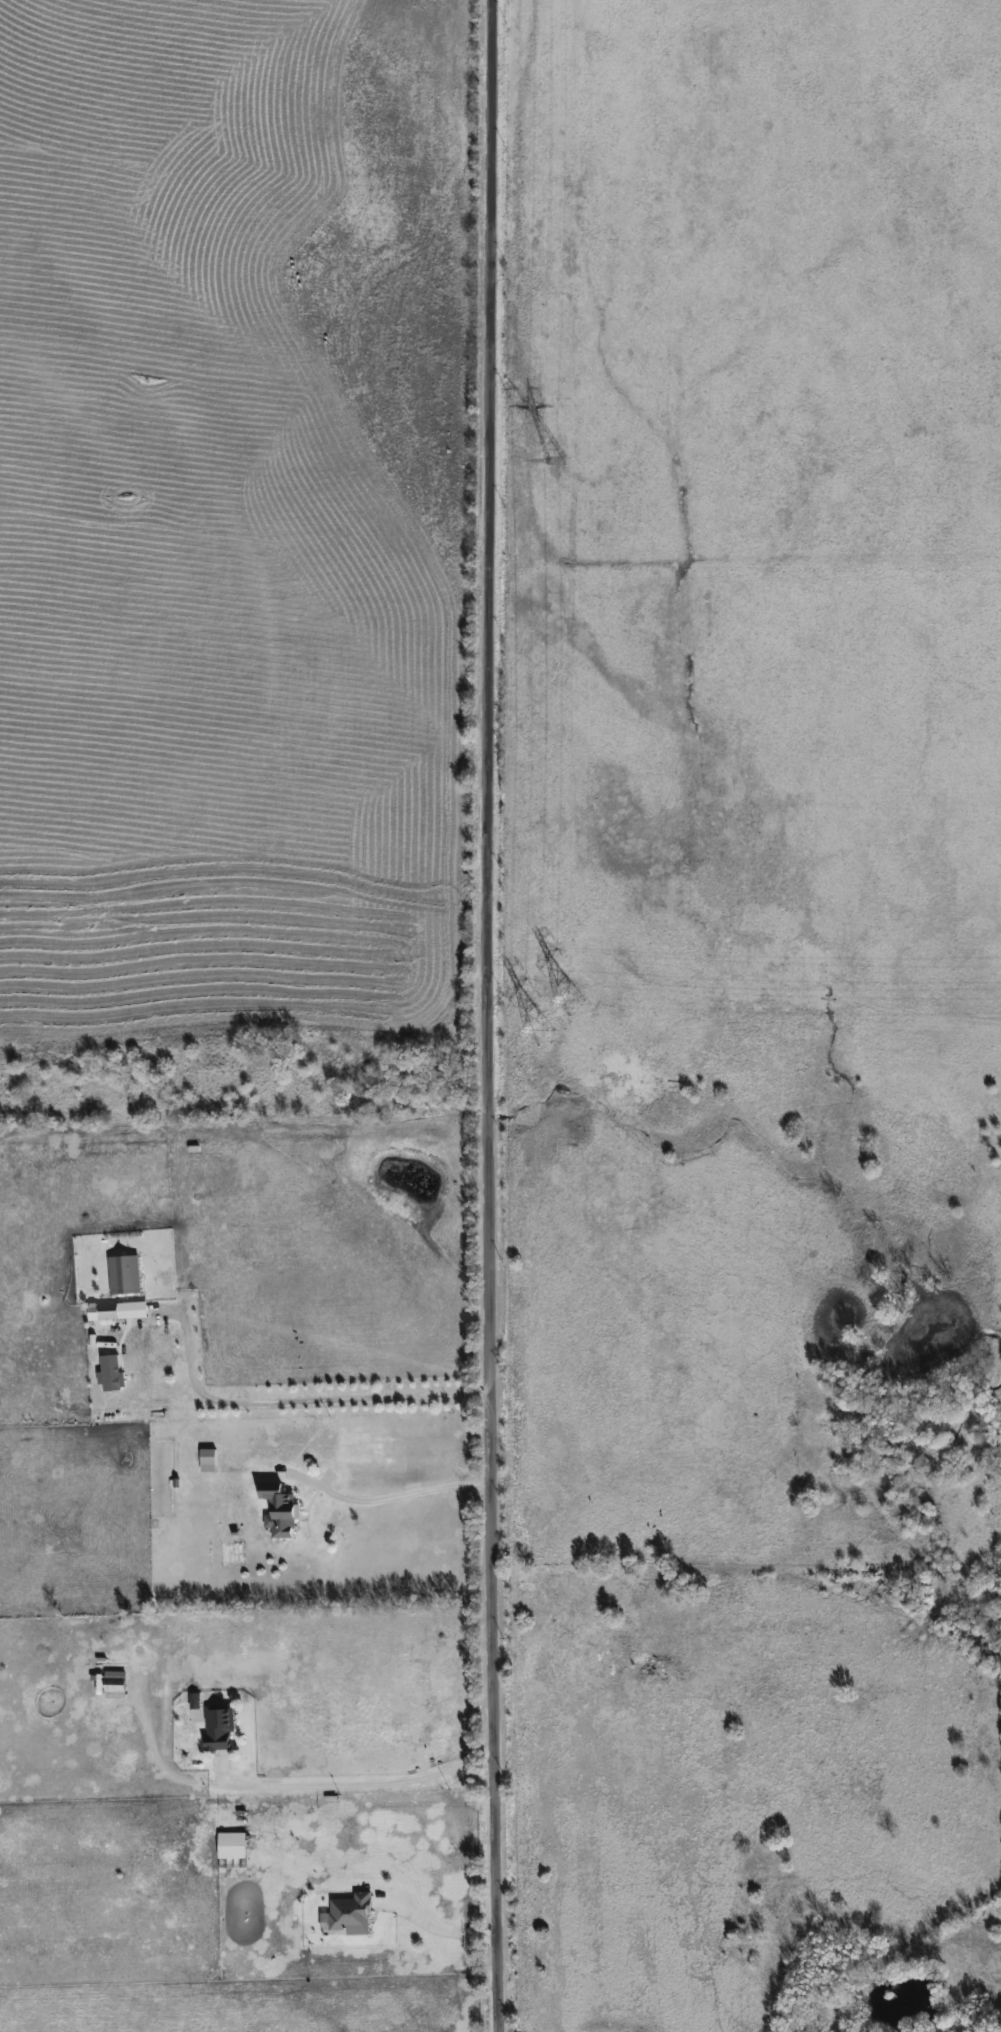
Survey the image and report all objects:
power tower: (558, 462)
power tower: (555, 1015)
road: (491, 1016)
building: (10, 1204)
building: (123, 1275)
building: (107, 1312)
road: (300, 1398)
building: (207, 1460)
road: (395, 1495)
building: (275, 1509)
building: (113, 1684)
building: (213, 1724)
road: (361, 1782)
building: (350, 1914)
road: (432, 1930)

